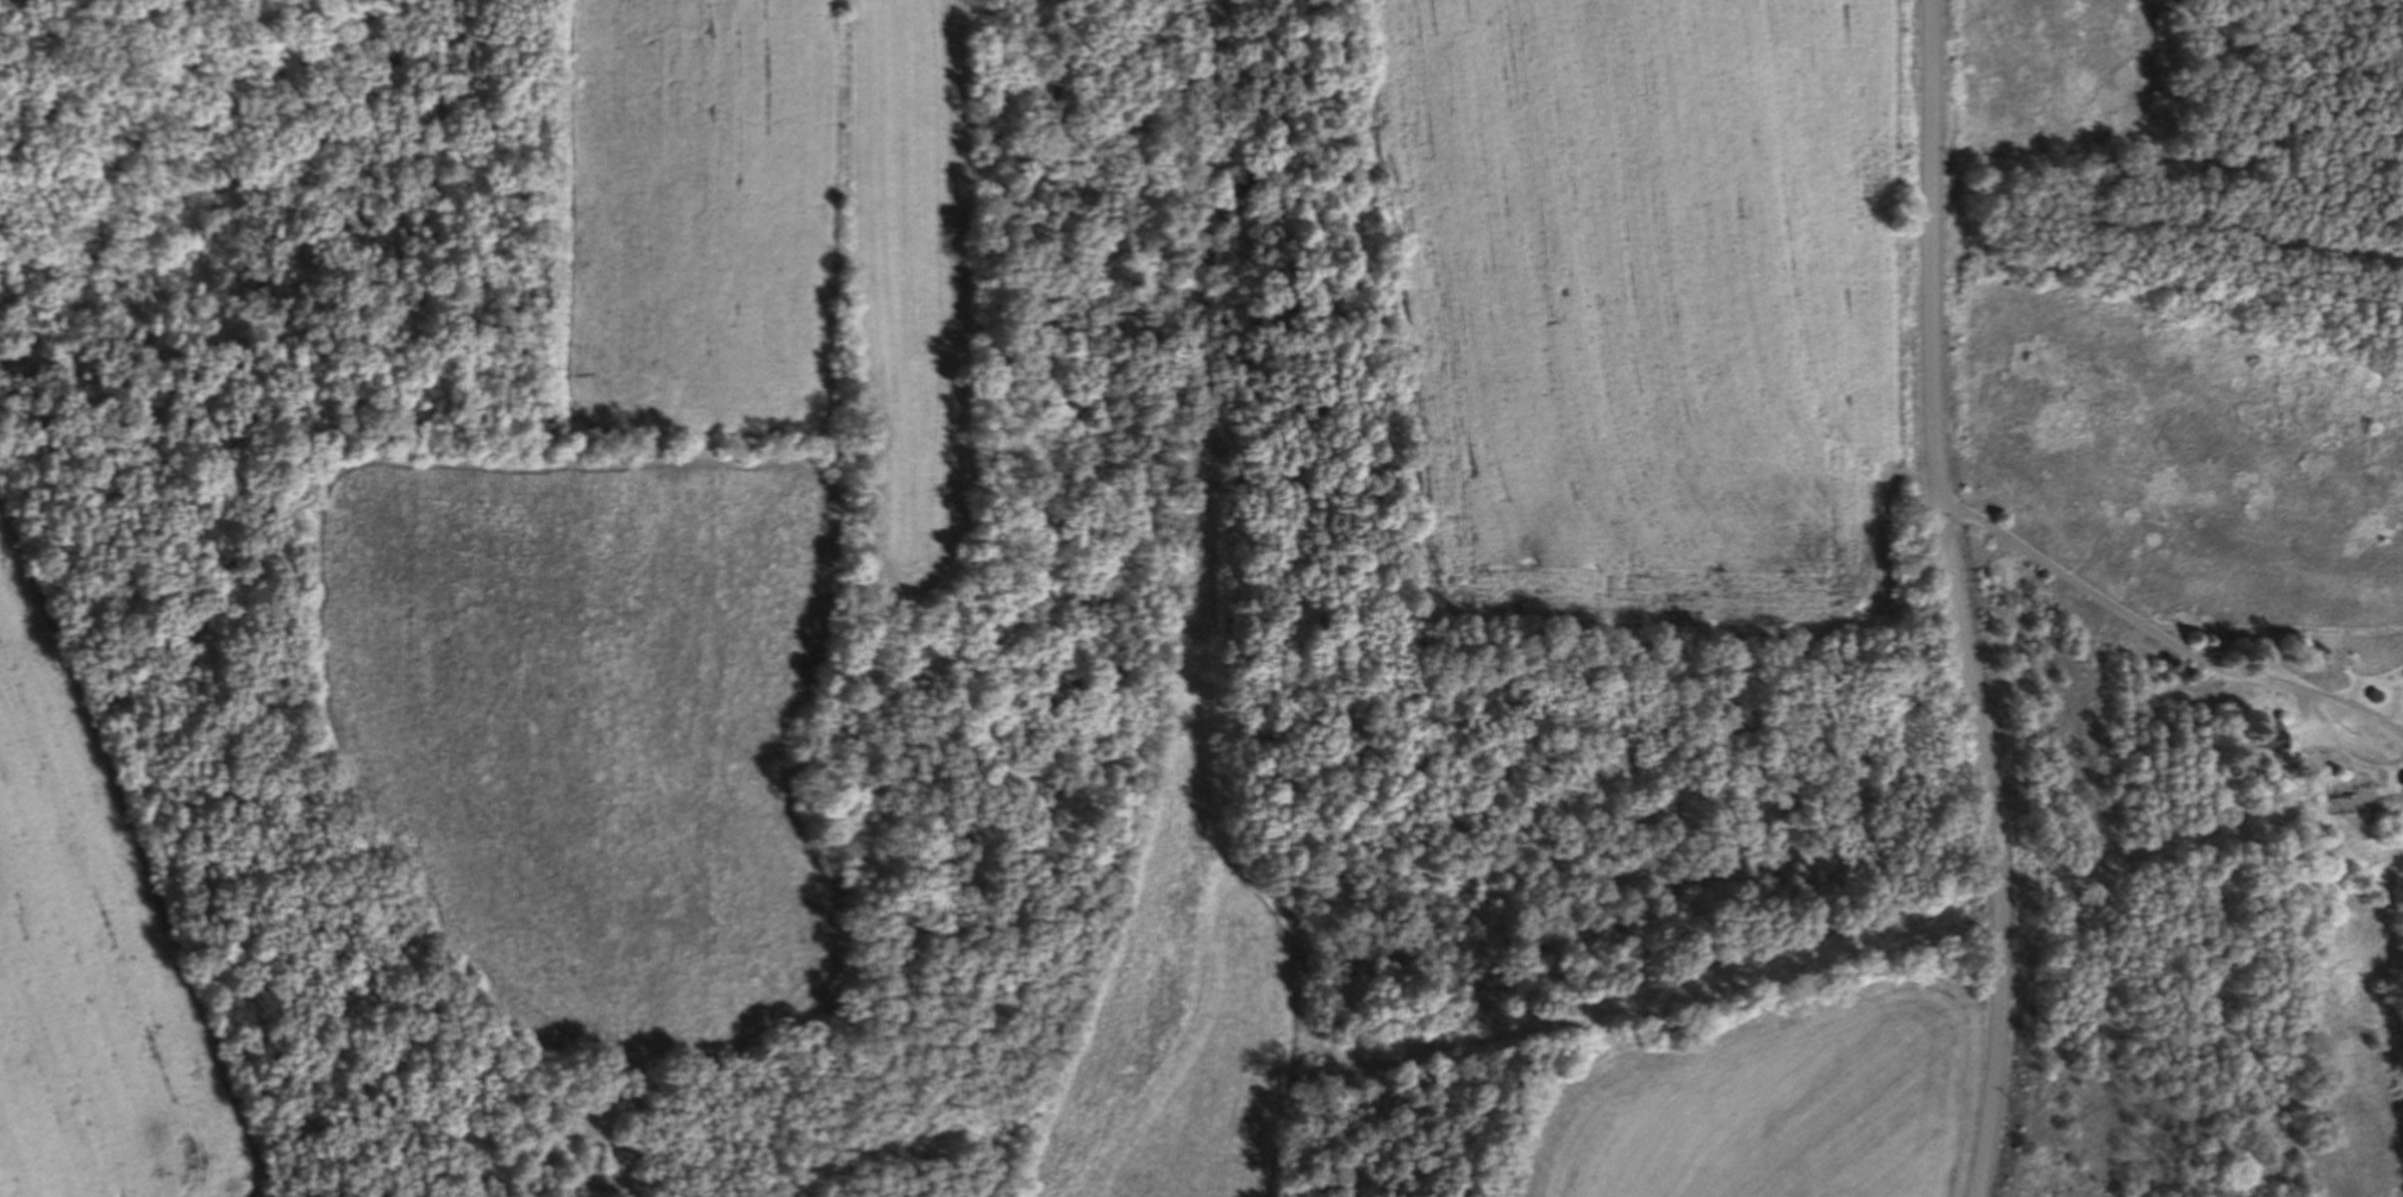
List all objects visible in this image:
road: (1957, 600)
road: (2124, 614)
building: (2274, 737)

